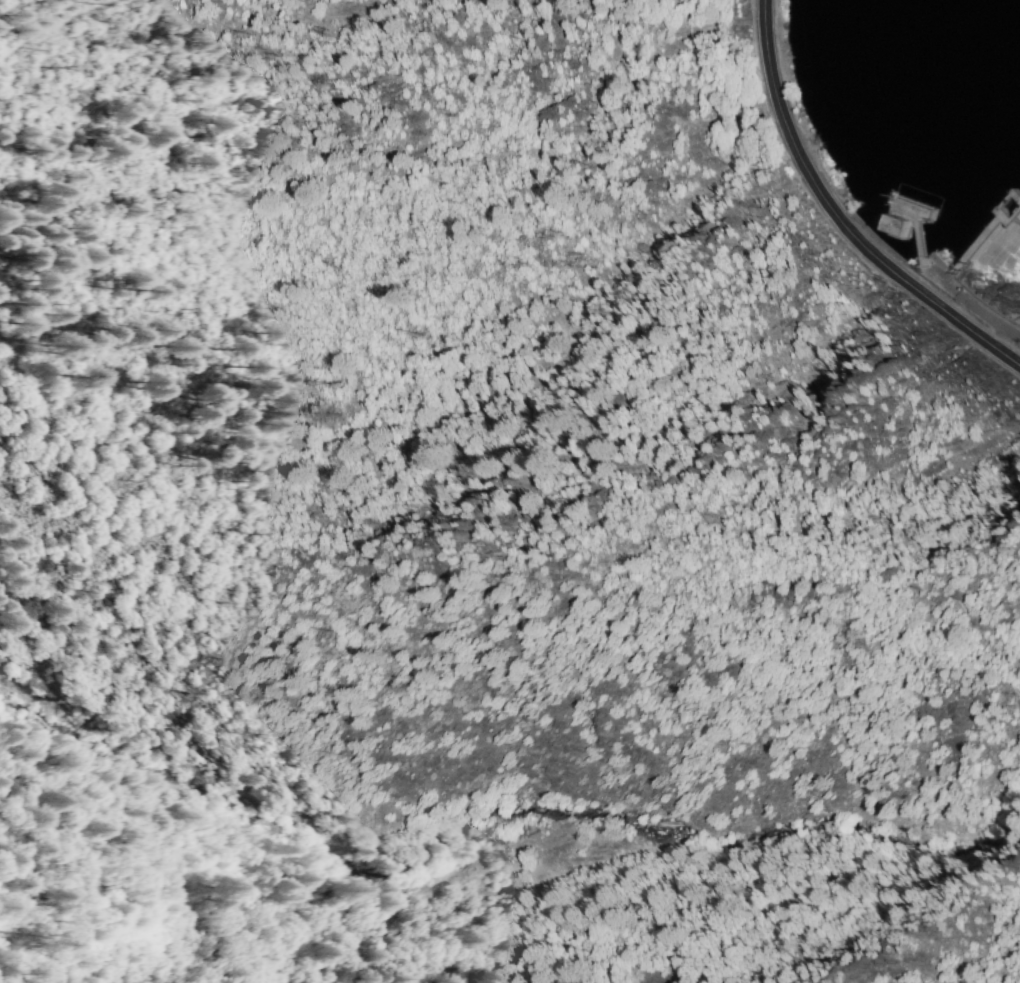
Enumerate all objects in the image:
river: (946, 65)
river: (976, 163)
river: (1013, 202)
road: (836, 218)
building: (899, 223)
dam: (998, 241)

